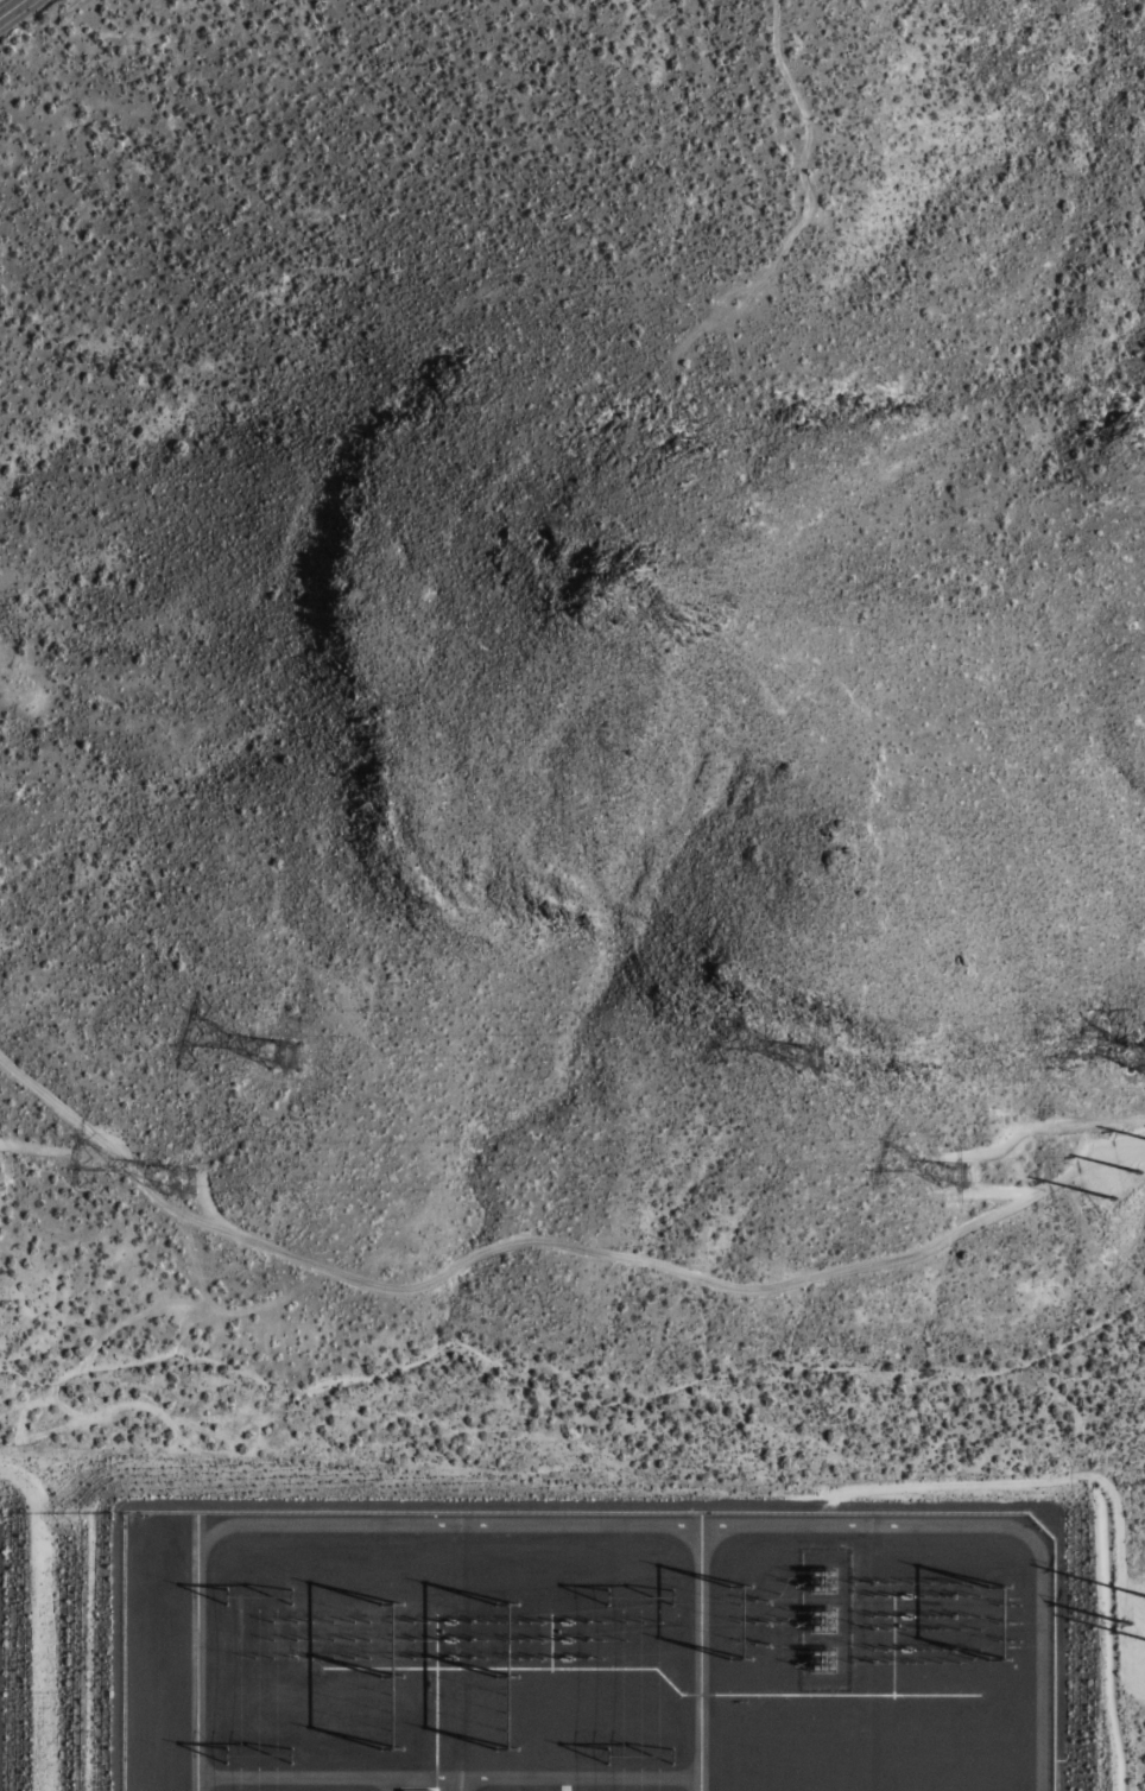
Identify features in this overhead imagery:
road: (12, 8)
power tower: (303, 1053)
power tower: (828, 1059)
power tower: (182, 1175)
road: (546, 1236)
power substation: (583, 1651)
building: (417, 1790)

